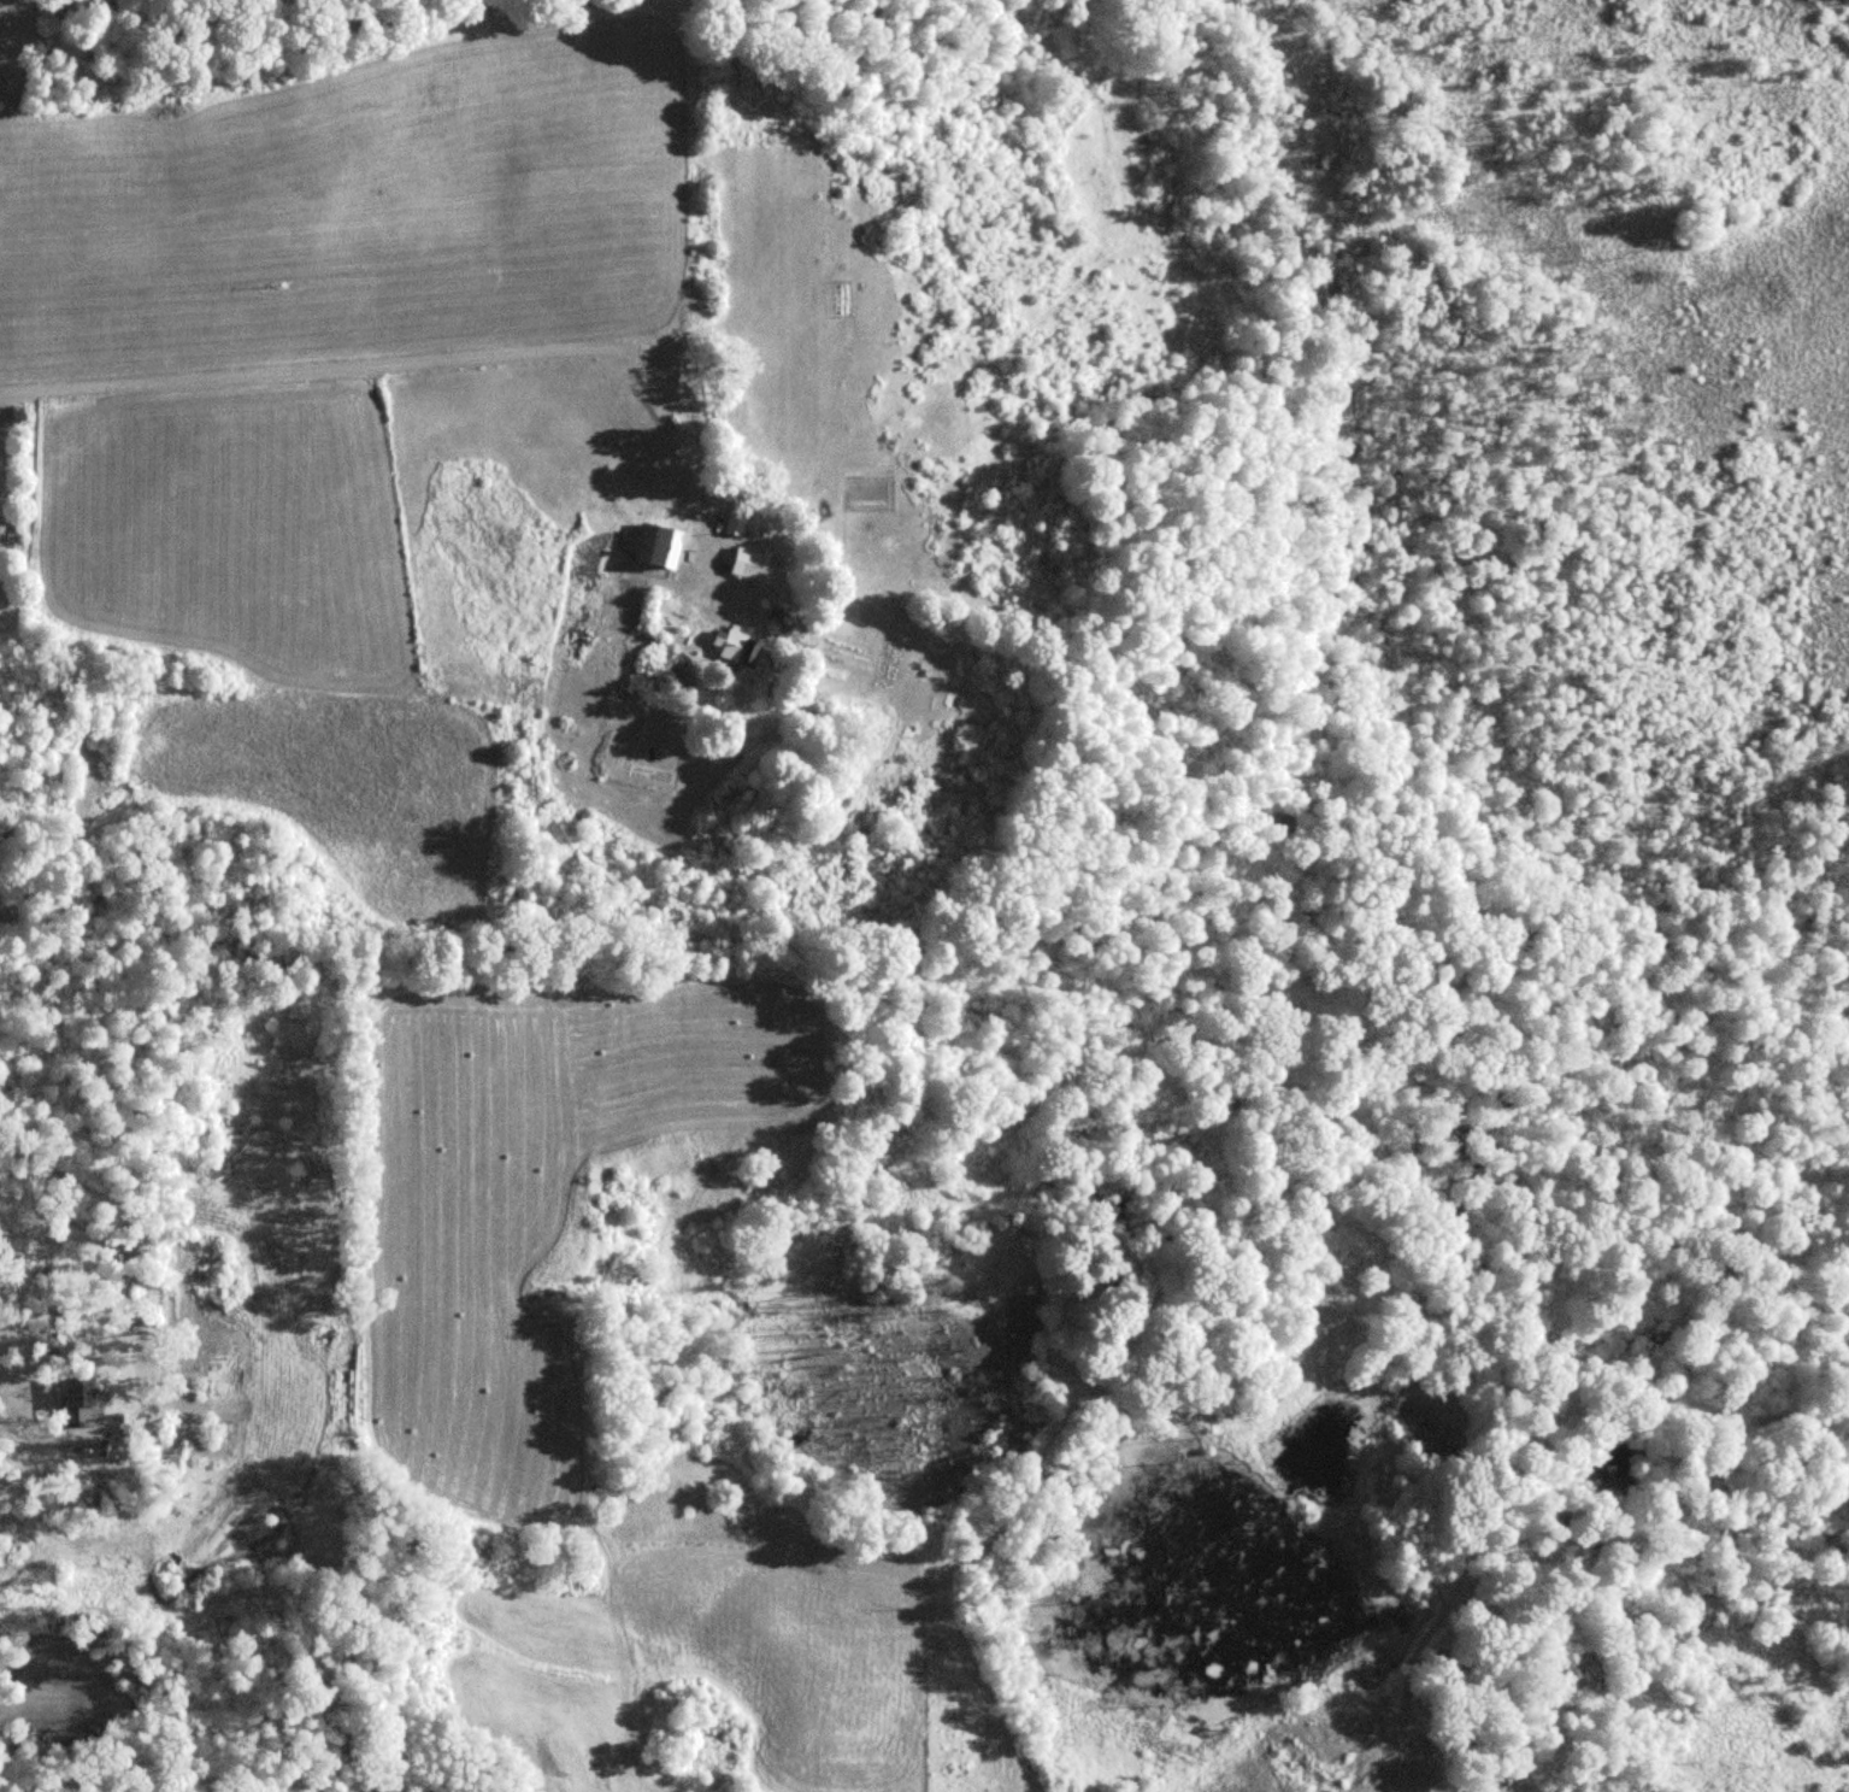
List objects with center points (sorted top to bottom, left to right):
road: (408, 340)
building: (736, 512)
building: (653, 545)
building: (749, 564)
building: (738, 648)

